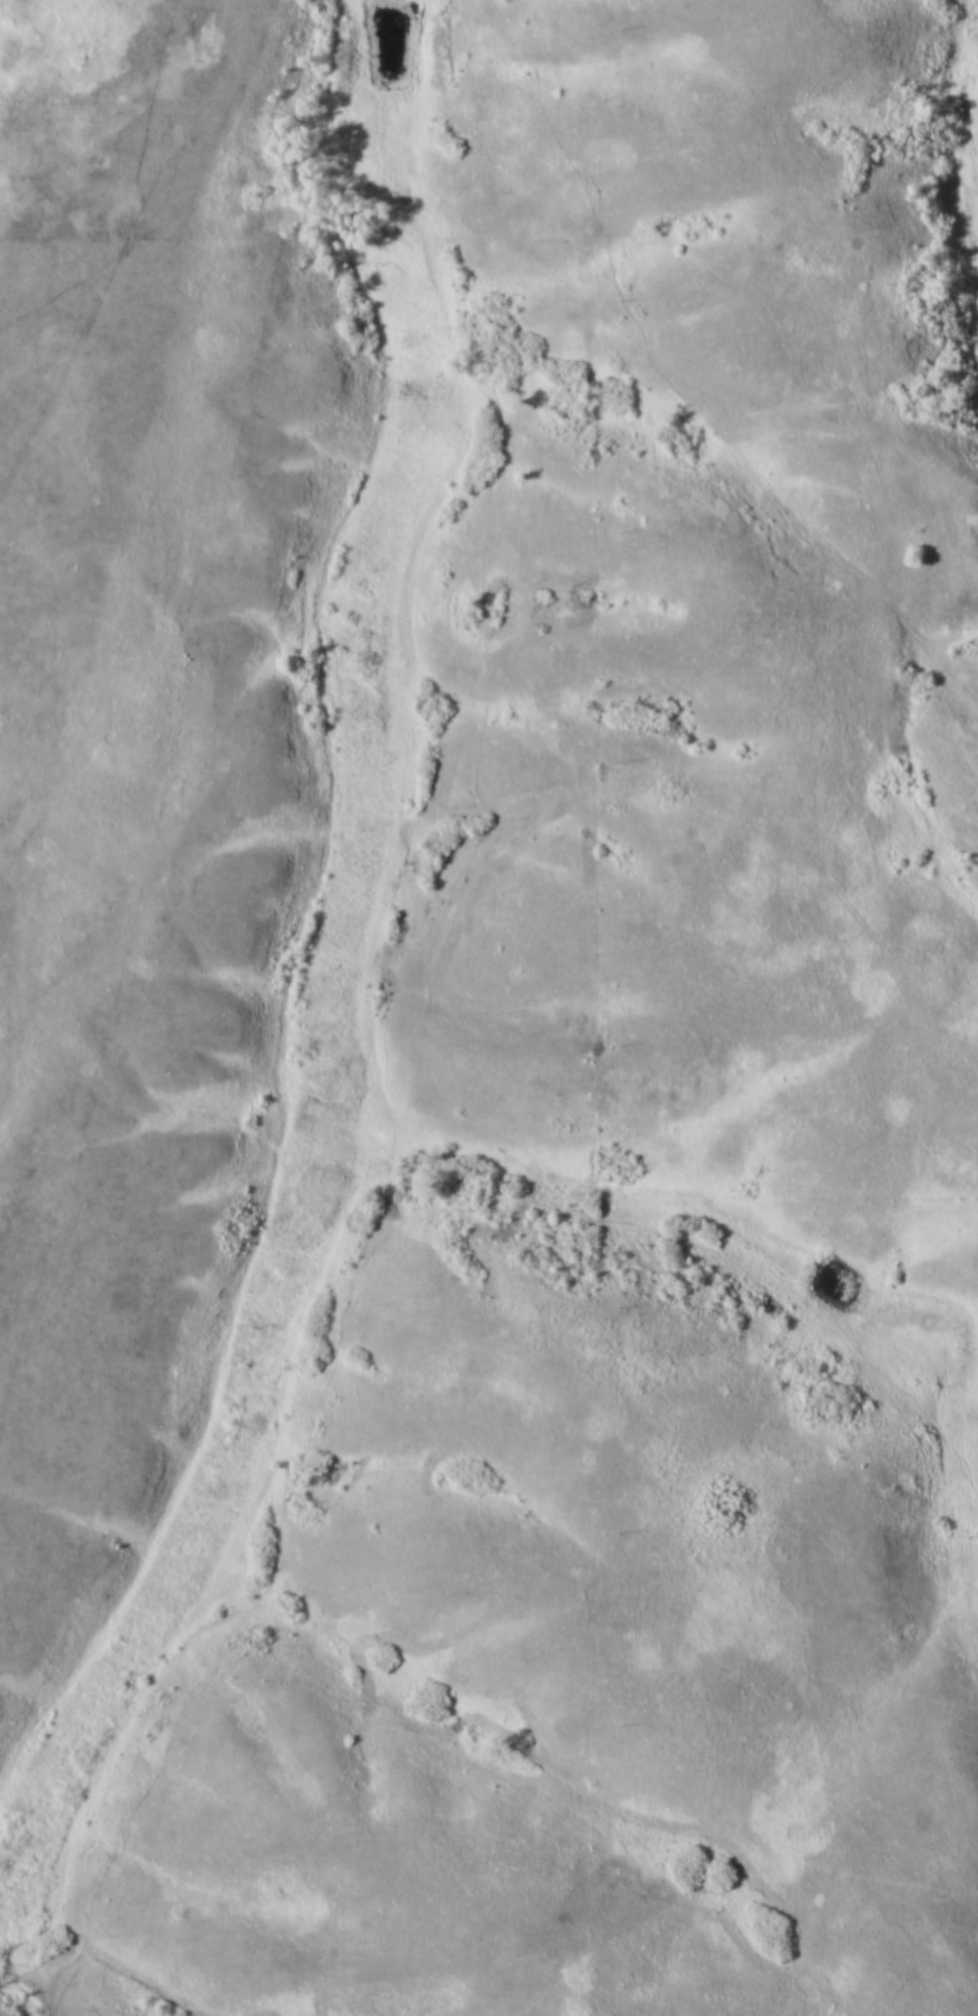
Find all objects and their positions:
dam: (8, 2010)
road: (8, 2010)

